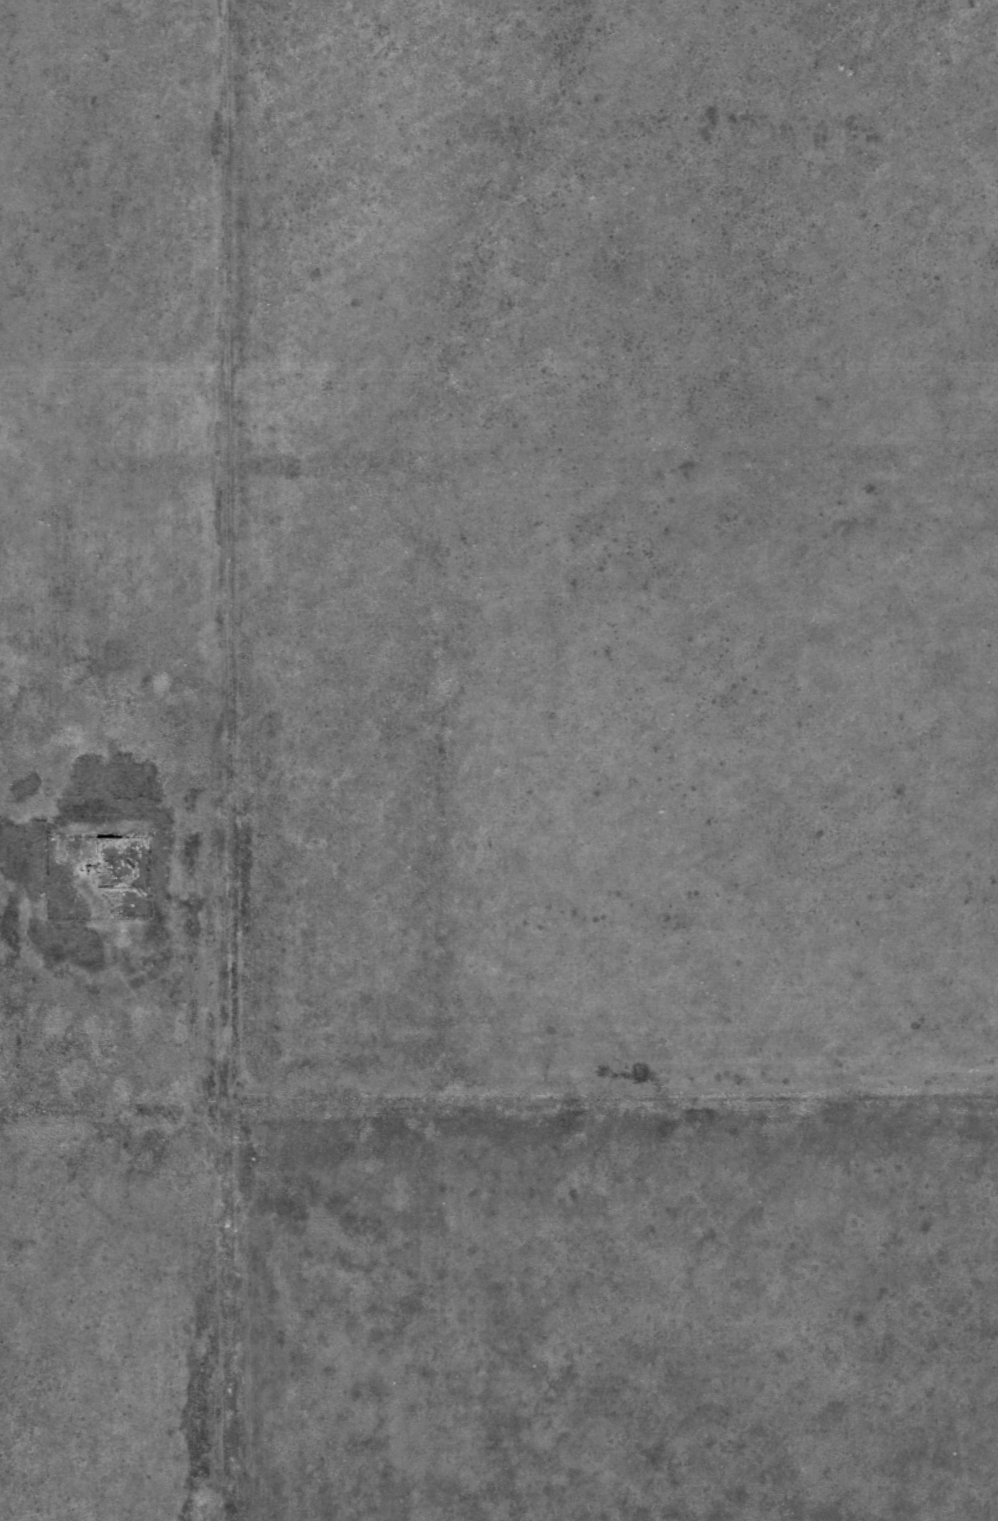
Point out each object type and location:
road: (191, 1136)

